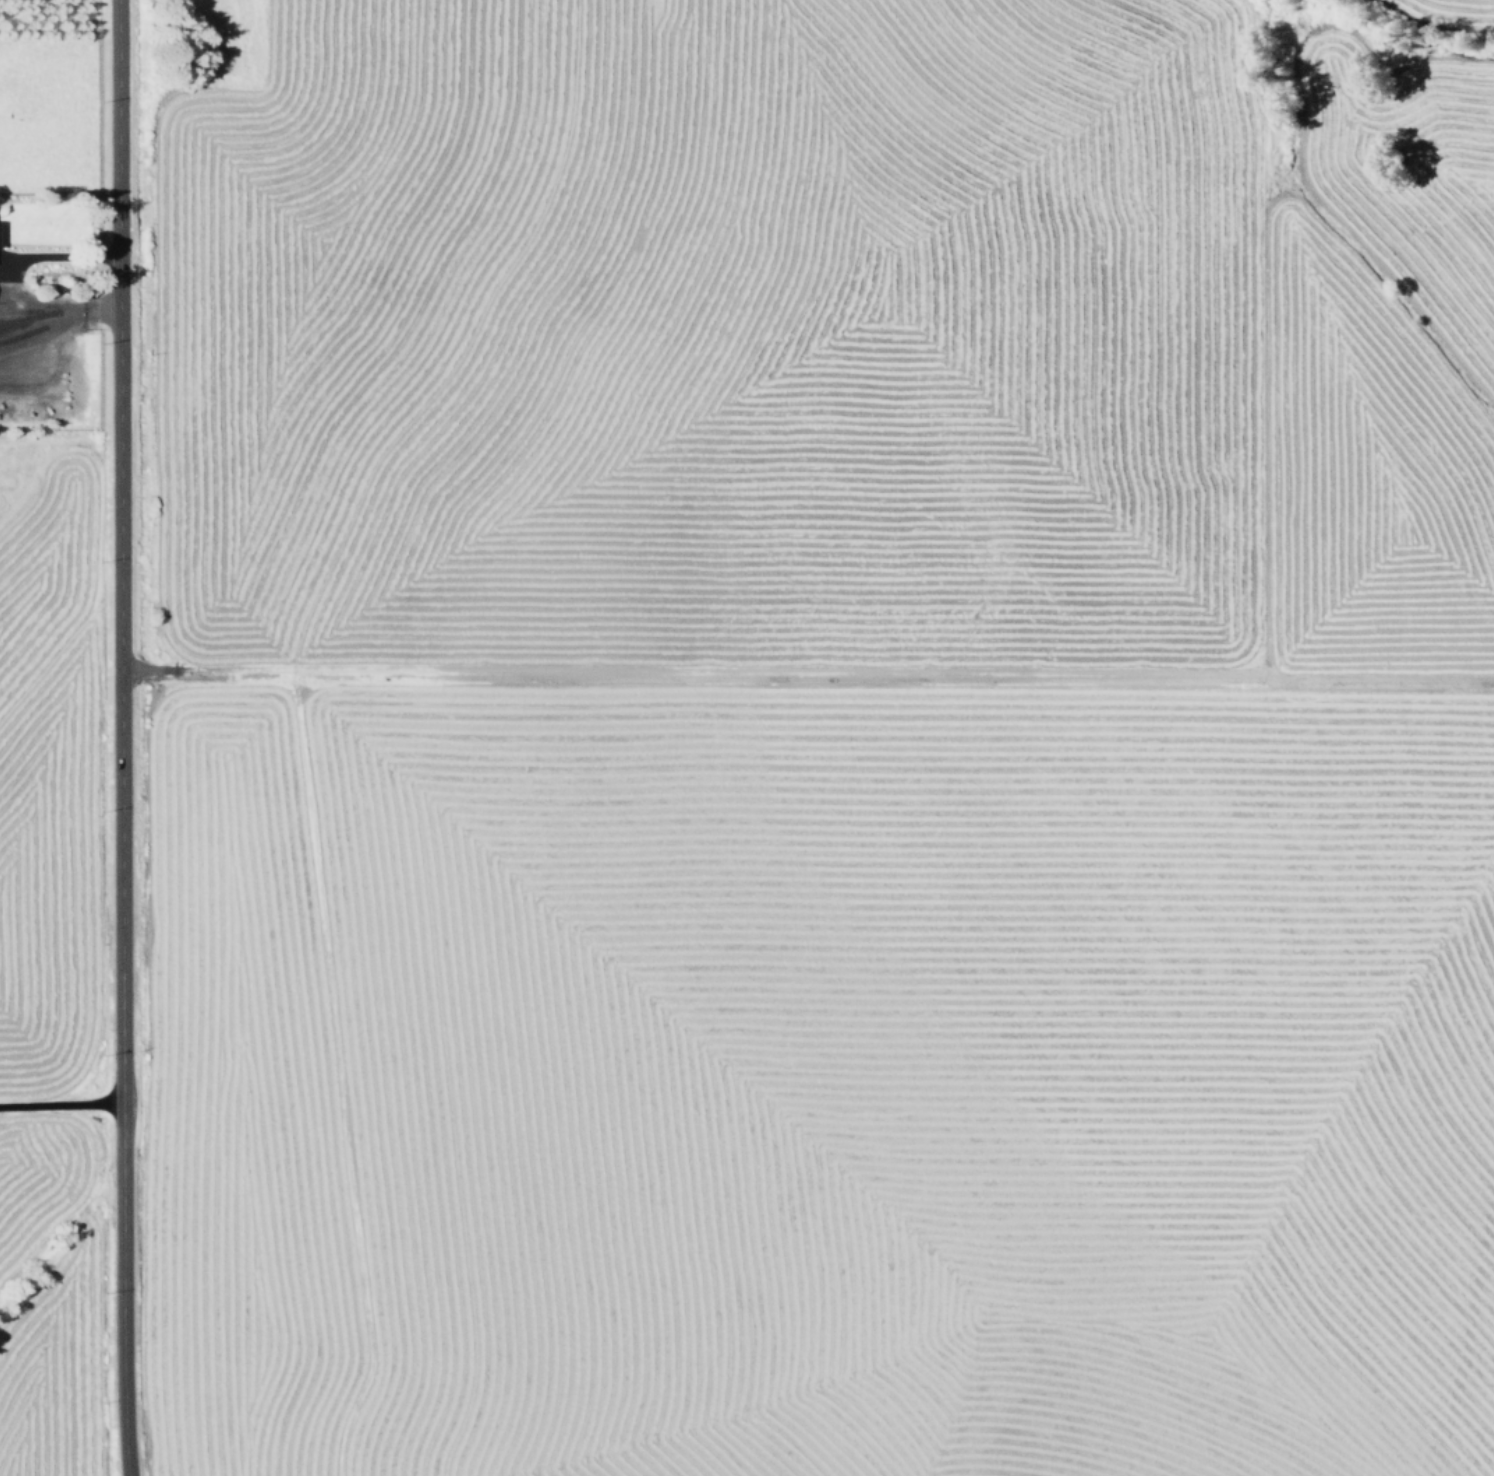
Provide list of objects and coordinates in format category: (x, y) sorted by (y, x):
road: (59, 256)
road: (58, 311)
road: (120, 738)
crop: (835, 740)
road: (60, 1105)

